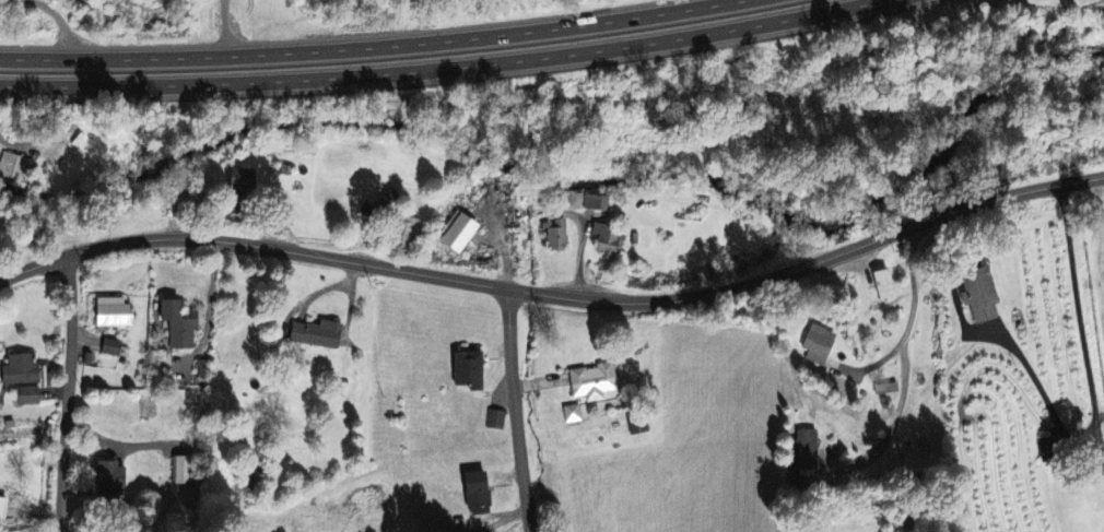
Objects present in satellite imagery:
road: (58, 16)
road: (232, 23)
road: (364, 36)
road: (455, 71)
building: (14, 167)
building: (236, 180)
building: (586, 203)
building: (379, 208)
building: (458, 234)
building: (556, 236)
building: (608, 244)
road: (915, 285)
road: (554, 295)
building: (977, 295)
road: (306, 309)
building: (111, 314)
building: (178, 324)
building: (316, 335)
building: (819, 345)
building: (111, 348)
building: (202, 369)
building: (20, 370)
building: (468, 370)
building: (594, 382)
road: (1094, 386)
road: (67, 394)
building: (27, 397)
road: (513, 410)
building: (574, 415)
building: (496, 422)
building: (638, 426)
road: (895, 429)
building: (804, 451)
building: (184, 471)
building: (108, 478)
building: (477, 495)
building: (2, 509)
road: (501, 522)
park: (104, 523)

